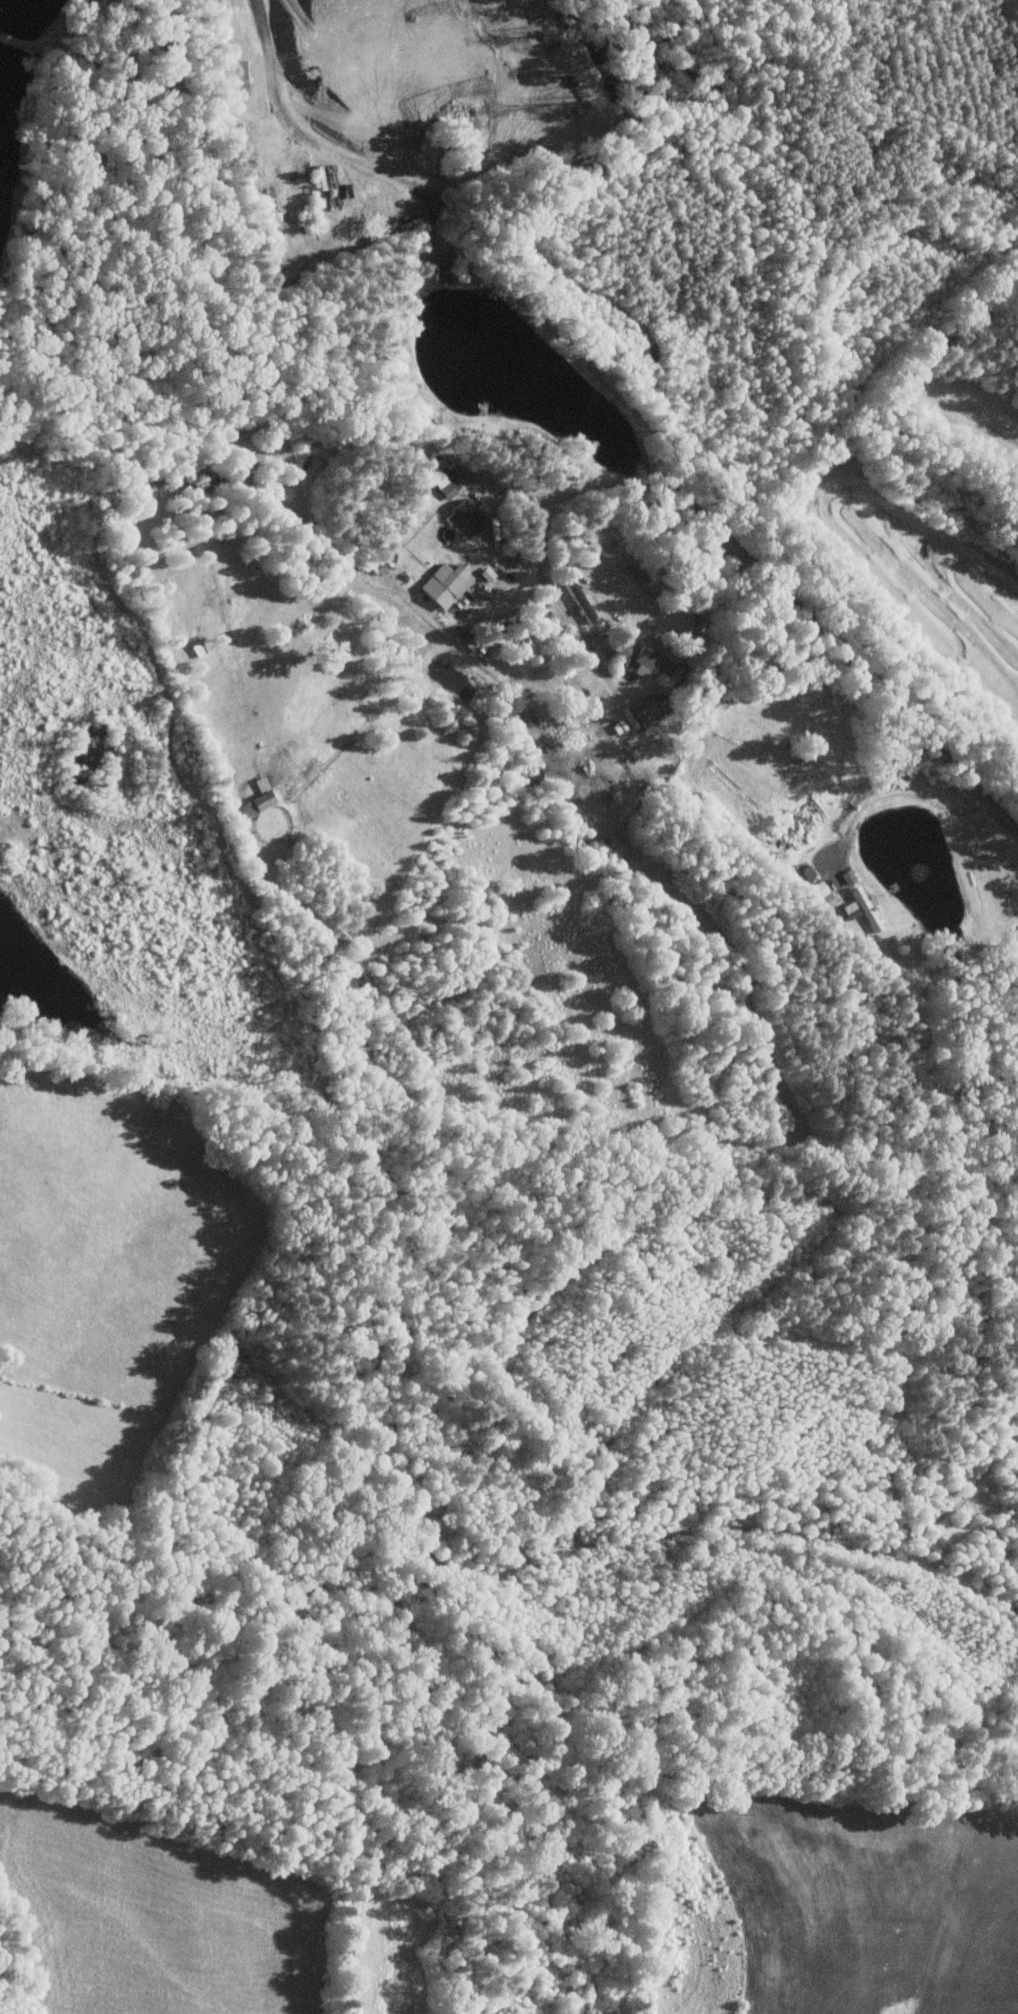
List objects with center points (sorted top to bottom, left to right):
building: (235, 78)
road: (431, 224)
building: (438, 266)
building: (439, 483)
road: (511, 485)
building: (465, 517)
road: (748, 561)
building: (444, 585)
building: (578, 601)
road: (436, 644)
building: (653, 666)
building: (643, 713)
building: (259, 785)
road: (896, 797)
building: (254, 805)
building: (805, 872)
building: (846, 876)
building: (816, 890)
building: (865, 909)
building: (851, 913)

